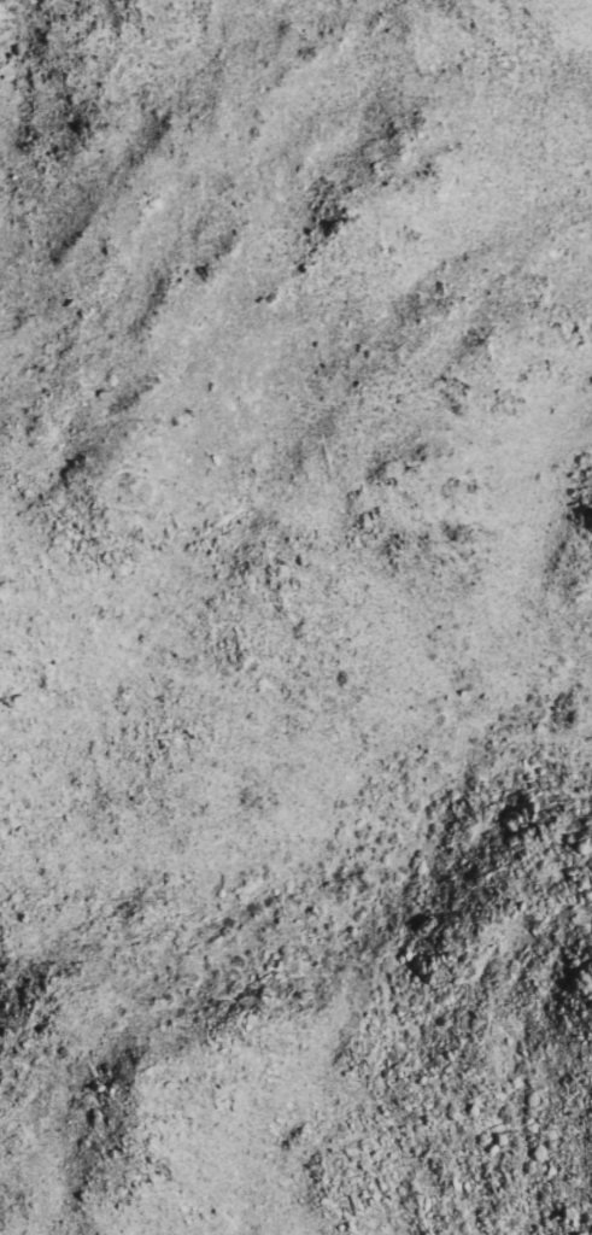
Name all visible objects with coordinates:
park: (40, 1180)

